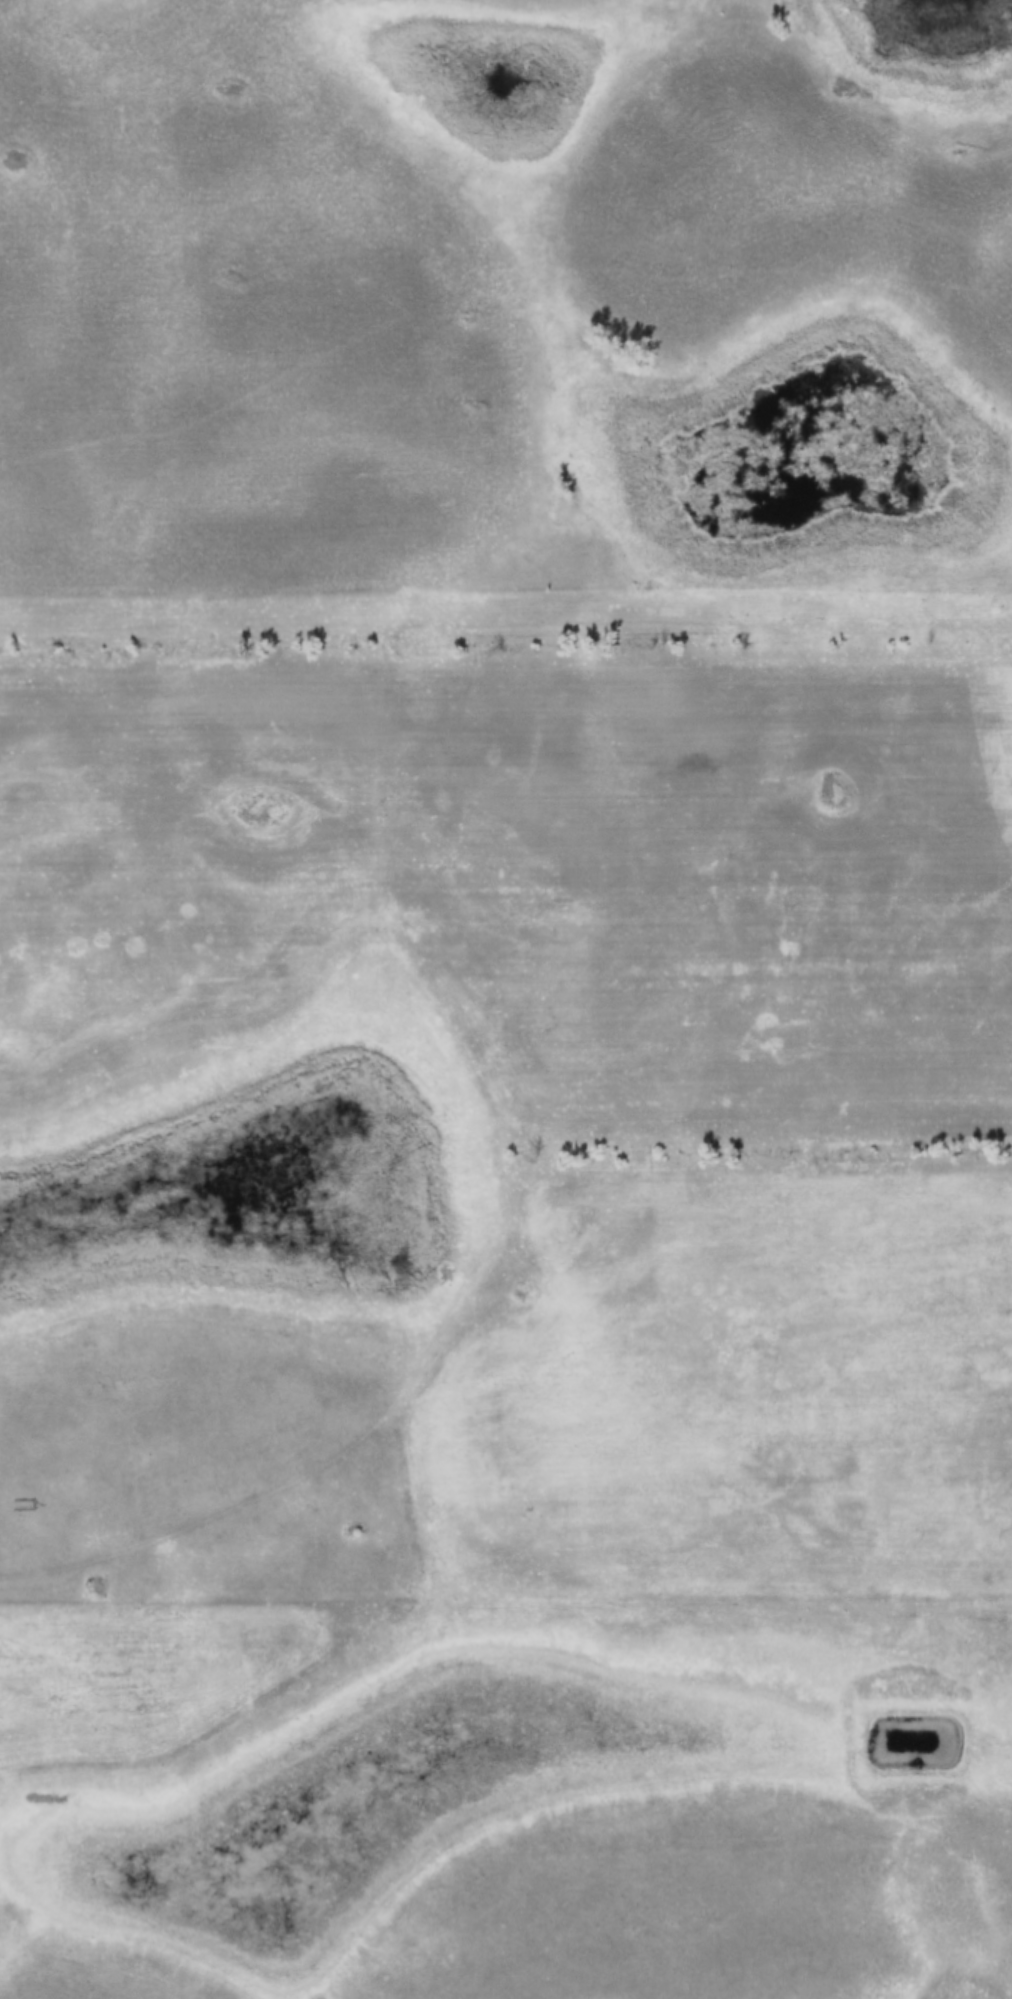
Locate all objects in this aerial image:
road: (506, 639)

